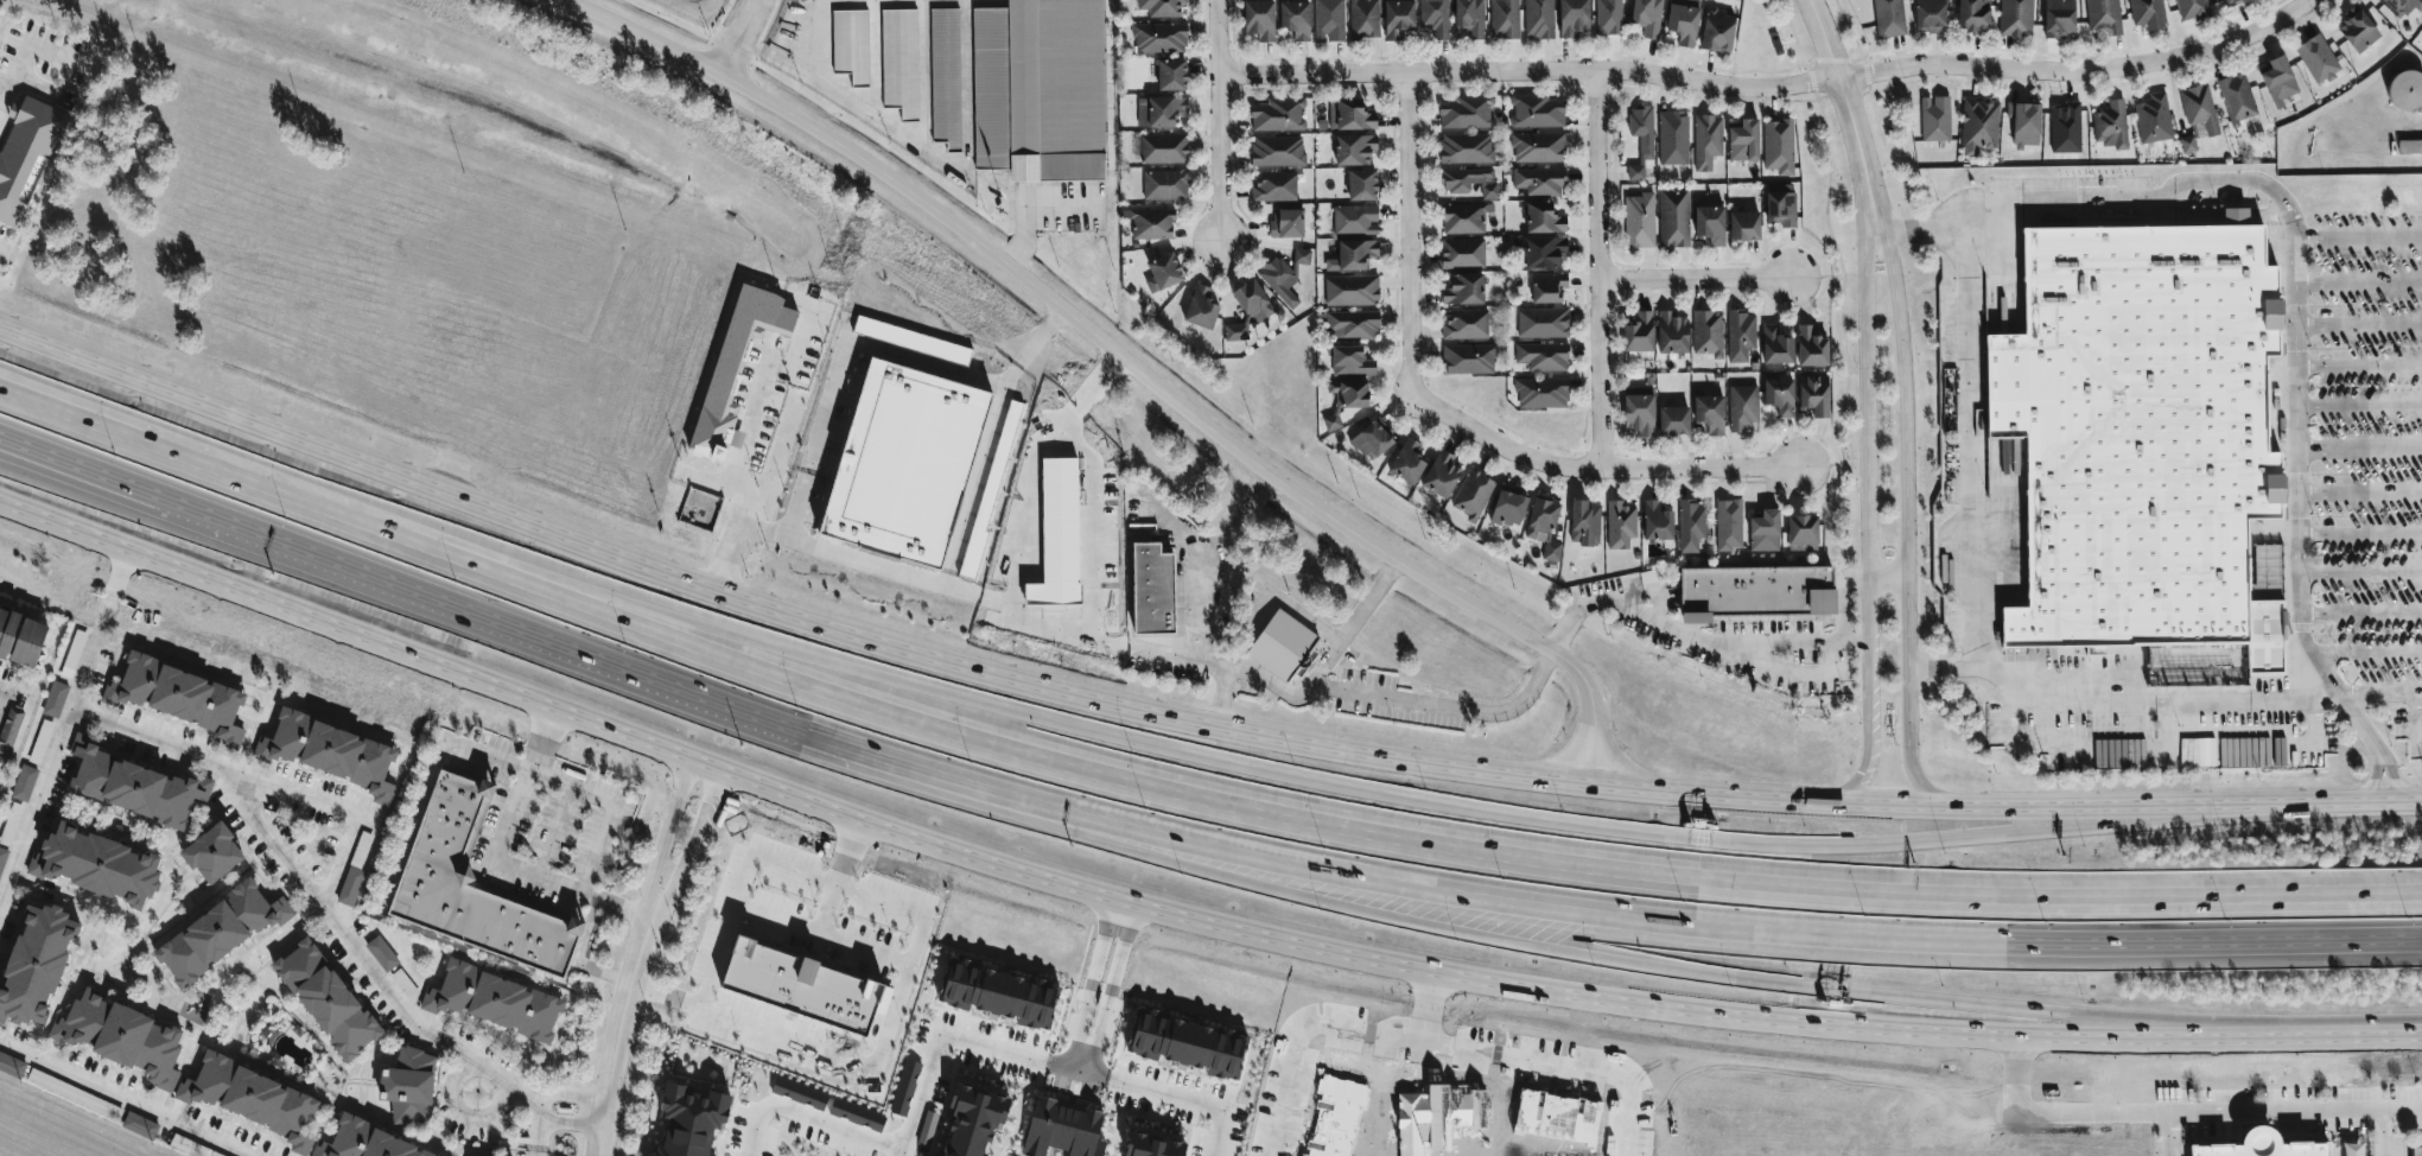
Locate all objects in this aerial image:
building: (2231, 1)
building: (1161, 7)
building: (2403, 7)
building: (2192, 9)
building: (2147, 13)
building: (1930, 15)
building: (1973, 15)
building: (2103, 15)
building: (1608, 17)
building: (1647, 17)
building: (1363, 18)
building: (1435, 18)
building: (1469, 18)
building: (1572, 18)
building: (1889, 18)
building: (2015, 18)
building: (2059, 18)
building: (1295, 19)
building: (1398, 19)
building: (1505, 19)
building: (1538, 19)
building: (1259, 20)
building: (1329, 20)
building: (1683, 24)
building: (2358, 30)
building: (1718, 32)
road: (735, 37)
building: (1159, 38)
building: (851, 45)
road: (25, 55)
building: (2318, 59)
building: (899, 62)
building: (945, 72)
building: (1171, 76)
building: (2280, 81)
road: (1772, 88)
building: (1037, 89)
building: (2405, 93)
road: (839, 94)
building: (2237, 97)
building: (2199, 108)
building: (1159, 112)
building: (1536, 112)
building: (1466, 113)
building: (1277, 115)
building: (1349, 115)
road: (1848, 117)
building: (1934, 119)
building: (2153, 119)
road: (1216, 120)
building: (2024, 123)
building: (1979, 126)
building: (2110, 126)
building: (2065, 128)
building: (1641, 138)
building: (1672, 138)
building: (1706, 141)
building: (1744, 141)
building: (2189, 142)
building: (1538, 147)
building: (1778, 147)
building: (2409, 147)
building: (1163, 148)
building: (1466, 148)
building: (1354, 150)
building: (1277, 151)
building: (25, 157)
road: (2367, 161)
building: (1539, 182)
building: (1164, 185)
building: (1361, 185)
building: (1274, 186)
building: (1780, 204)
building: (1463, 218)
building: (1673, 218)
building: (1355, 220)
building: (1543, 220)
building: (1639, 220)
building: (1150, 223)
building: (1710, 223)
building: (1286, 224)
building: (1744, 224)
road: (1921, 228)
road: (1409, 235)
road: (2359, 237)
road: (1, 248)
building: (1544, 252)
building: (1462, 253)
building: (1353, 255)
road: (1597, 269)
building: (1162, 274)
building: (1282, 278)
road: (1693, 279)
road: (2359, 281)
building: (1547, 286)
building: (1463, 288)
building: (1350, 290)
building: (1253, 300)
building: (1201, 307)
road: (2296, 322)
building: (1543, 323)
building: (1352, 324)
building: (1466, 324)
road: (2359, 326)
building: (1235, 331)
building: (1639, 331)
building: (1671, 332)
building: (1708, 332)
building: (1741, 334)
building: (911, 339)
building: (1776, 344)
building: (1811, 347)
road: (1034, 351)
building: (1541, 356)
building: (1468, 358)
road: (1124, 360)
building: (1350, 361)
building: (736, 362)
road: (2359, 364)
road: (926, 370)
building: (1349, 393)
building: (1541, 393)
building: (1814, 394)
building: (1780, 395)
road: (2360, 406)
building: (1742, 408)
building: (1710, 412)
road: (72, 413)
building: (1640, 413)
building: (1673, 419)
road: (72, 421)
building: (1009, 421)
building: (1330, 421)
building: (1373, 438)
building: (2140, 438)
road: (744, 440)
road: (2360, 450)
building: (902, 461)
building: (1407, 461)
road: (66, 464)
road: (1595, 466)
road: (66, 470)
building: (1441, 474)
road: (2360, 490)
building: (1473, 494)
building: (1508, 507)
building: (1657, 521)
building: (1584, 522)
building: (1729, 523)
building: (1620, 525)
building: (1691, 525)
road: (1865, 525)
road: (1905, 526)
building: (1544, 527)
building: (1765, 531)
building: (1803, 532)
road: (2359, 533)
road: (835, 560)
road: (452, 563)
road: (1202, 570)
road: (120, 572)
road: (2359, 572)
road: (1886, 577)
building: (1151, 589)
building: (1754, 592)
road: (1842, 597)
road: (777, 610)
road: (2359, 611)
road: (107, 614)
road: (492, 623)
road: (1695, 634)
building: (21, 636)
road: (1966, 636)
road: (1887, 641)
building: (1280, 643)
building: (72, 654)
road: (2367, 654)
road: (1326, 662)
road: (88, 669)
road: (1946, 672)
road: (2, 691)
road: (2398, 693)
building: (179, 695)
road: (1218, 698)
building: (55, 699)
road: (1447, 709)
building: (9, 731)
building: (331, 751)
road: (489, 756)
road: (218, 764)
road: (2396, 780)
road: (2369, 782)
building: (24, 783)
building: (136, 786)
road: (2407, 799)
road: (1986, 801)
road: (616, 804)
road: (331, 805)
building: (11, 824)
road: (1570, 826)
road: (662, 834)
toll booth: (1693, 839)
road: (691, 845)
building: (212, 853)
road: (495, 858)
road: (1581, 862)
building: (96, 865)
building: (472, 885)
road: (740, 891)
road: (1180, 912)
road: (1629, 915)
road: (291, 930)
road: (799, 930)
building: (217, 933)
road: (863, 952)
building: (382, 953)
road: (1576, 954)
road: (578, 958)
building: (37, 964)
building: (802, 987)
building: (997, 992)
building: (328, 1001)
building: (494, 1002)
road: (1434, 1009)
road: (618, 1036)
road: (886, 1036)
building: (121, 1037)
road: (1308, 1039)
building: (1185, 1043)
building: (12, 1066)
road: (1061, 1068)
road: (1559, 1069)
road: (1076, 1071)
road: (1092, 1075)
building: (409, 1086)
building: (905, 1088)
building: (799, 1093)
road: (516, 1094)
road: (127, 1098)
building: (252, 1099)
road: (1184, 1101)
road: (462, 1112)
road: (2182, 1112)
building: (857, 1116)
building: (973, 1119)
building: (691, 1120)
building: (140, 1126)
building: (1062, 1130)
road: (536, 1131)
road: (907, 1131)
road: (2383, 1133)
road: (2170, 1135)
building: (365, 1142)
building: (1152, 1145)
building: (2261, 1145)
building: (2352, 1149)
building: (2417, 1151)
road: (534, 1152)
road: (897, 1152)
building: (936, 1155)

